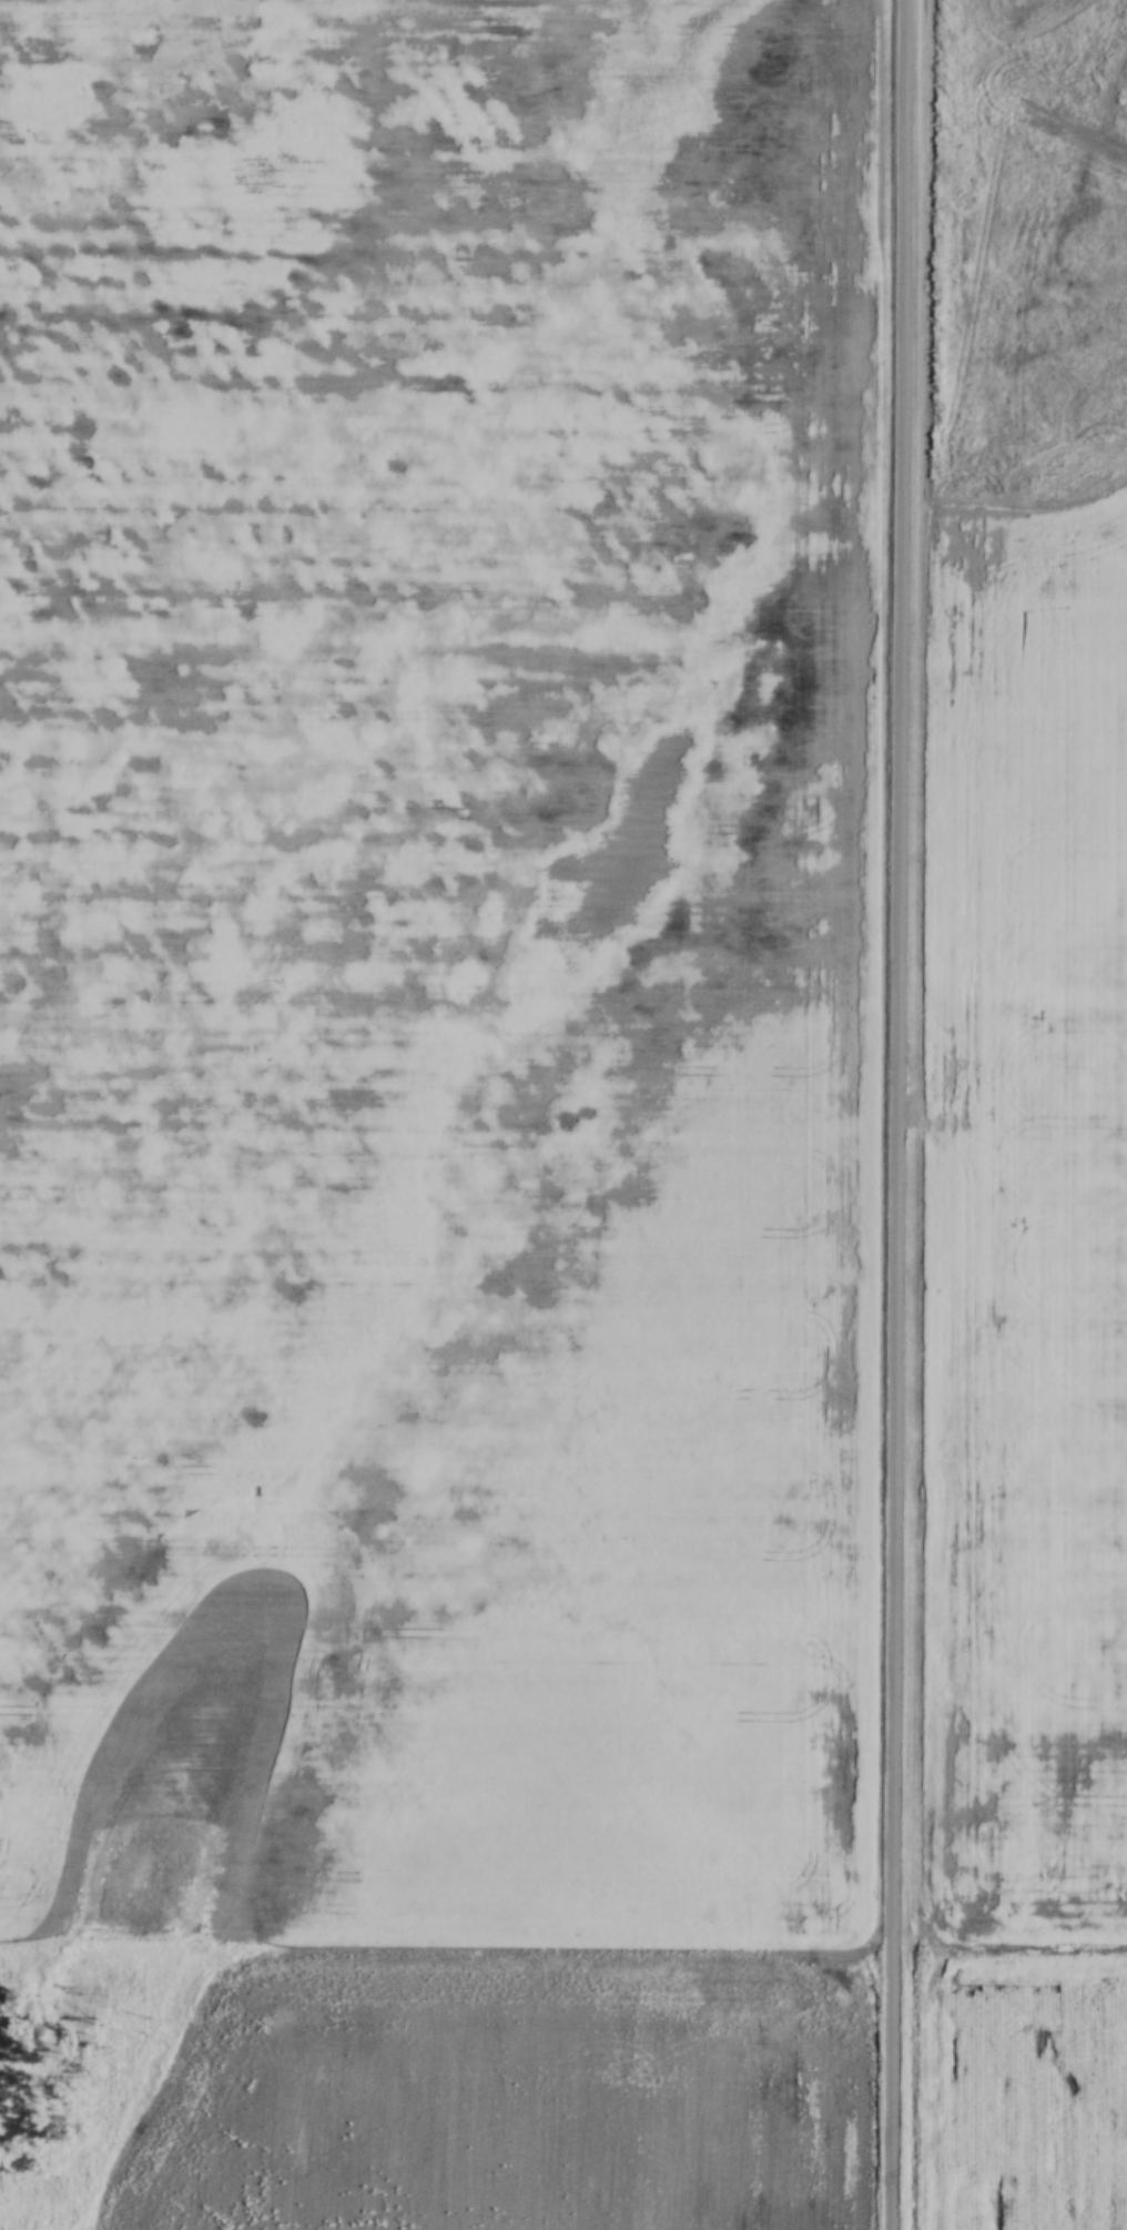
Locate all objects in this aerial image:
road: (898, 1115)

